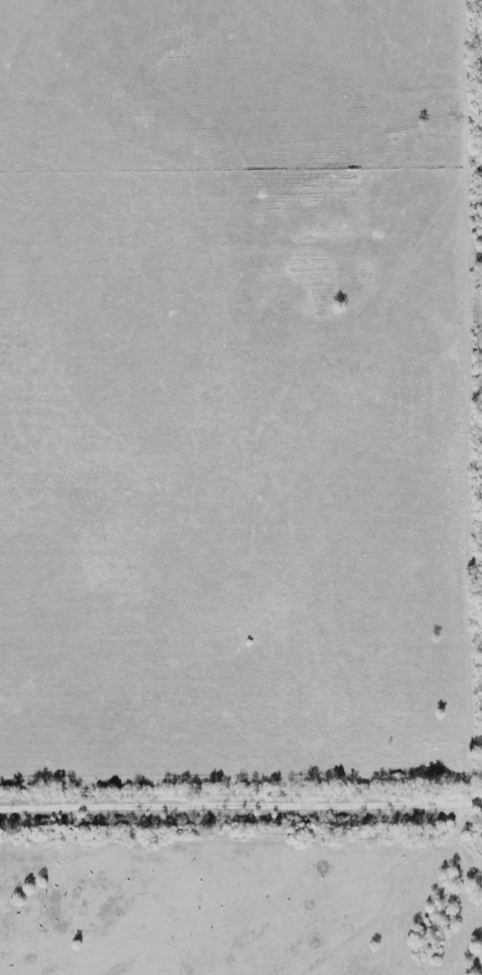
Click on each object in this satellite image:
road: (241, 809)

